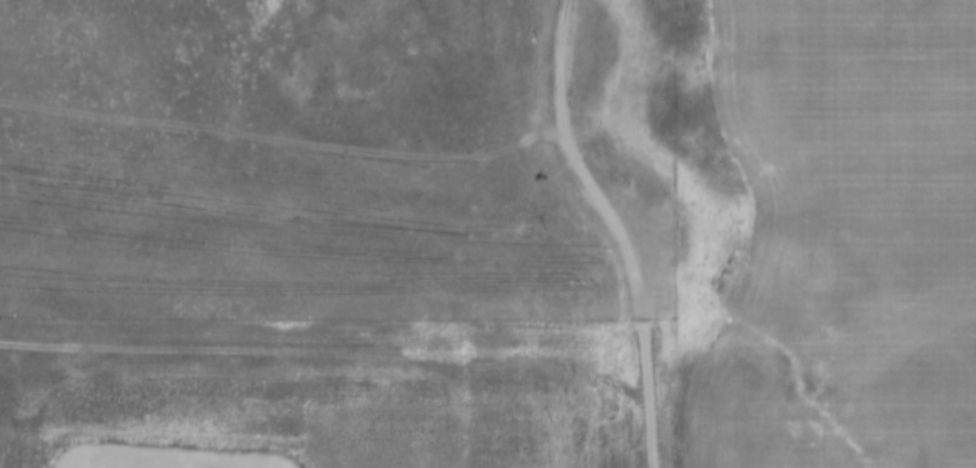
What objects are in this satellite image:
road: (610, 229)

